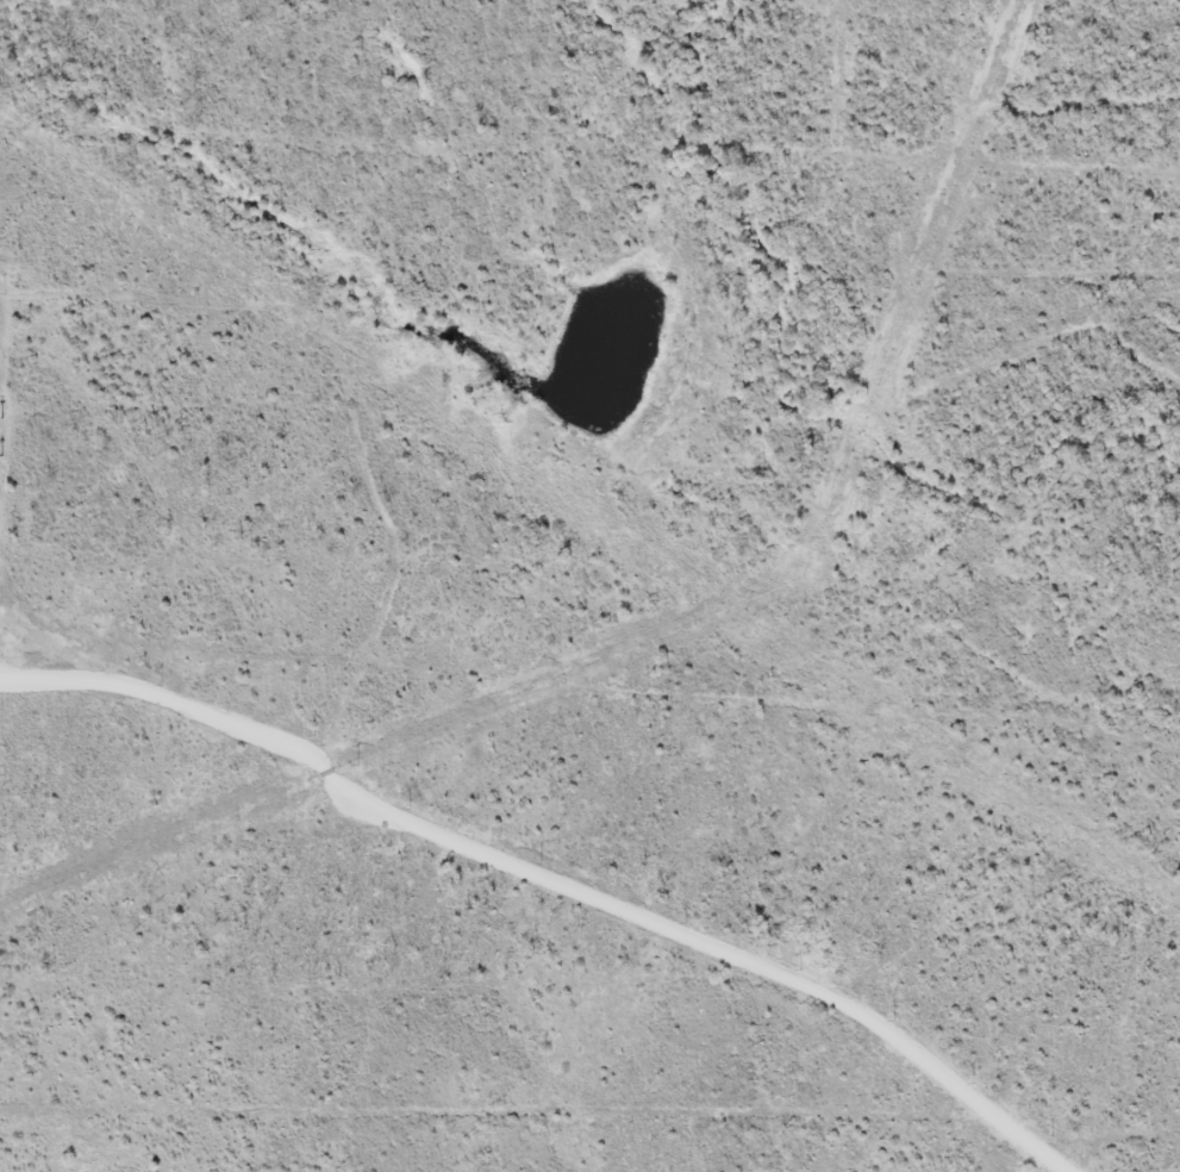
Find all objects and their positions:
road: (548, 883)

